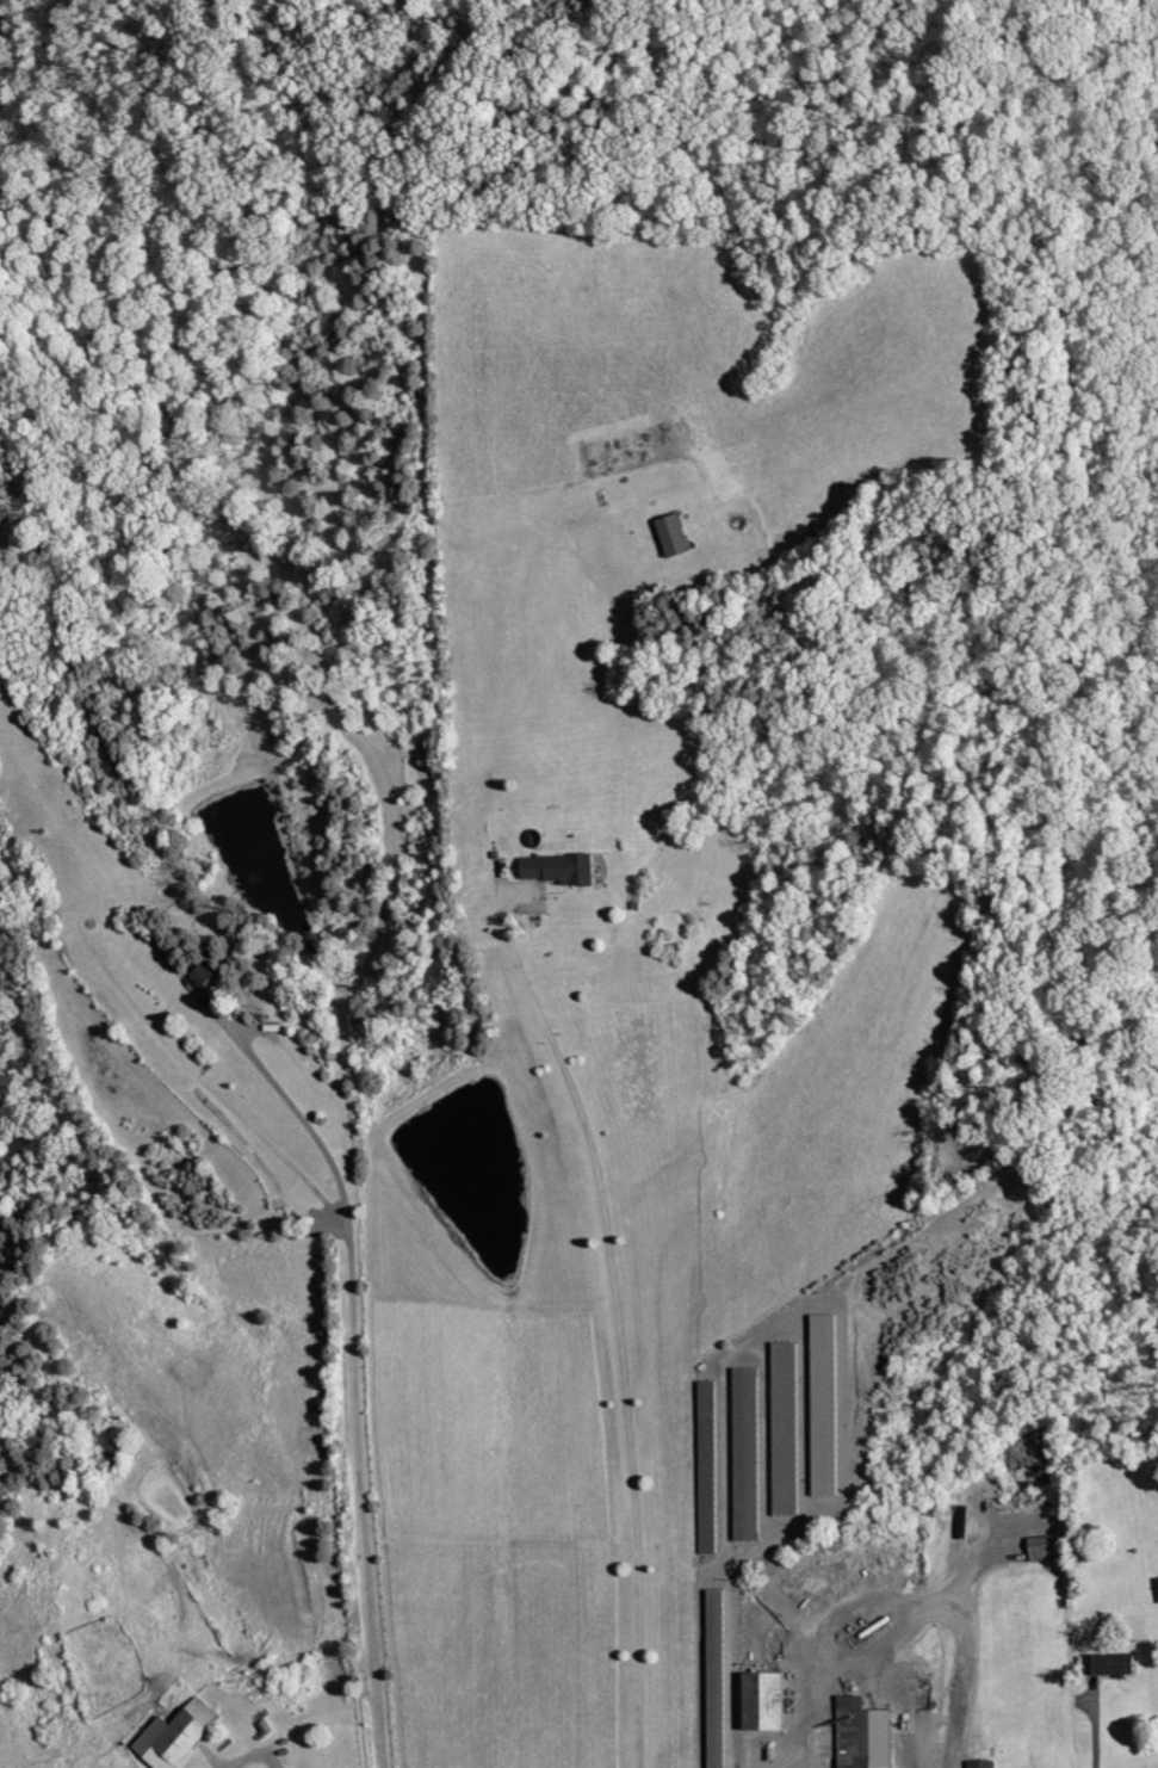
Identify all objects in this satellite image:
building: (674, 534)
building: (561, 868)
building: (205, 973)
road: (613, 1308)
building: (824, 1405)
building: (785, 1428)
building: (747, 1453)
building: (1042, 1544)
road: (990, 1558)
building: (1157, 1577)
road: (916, 1615)
building: (1111, 1663)
building: (764, 1700)
road: (1103, 1726)
building: (863, 1733)
building: (177, 1735)
road: (212, 1761)
building: (983, 1763)

